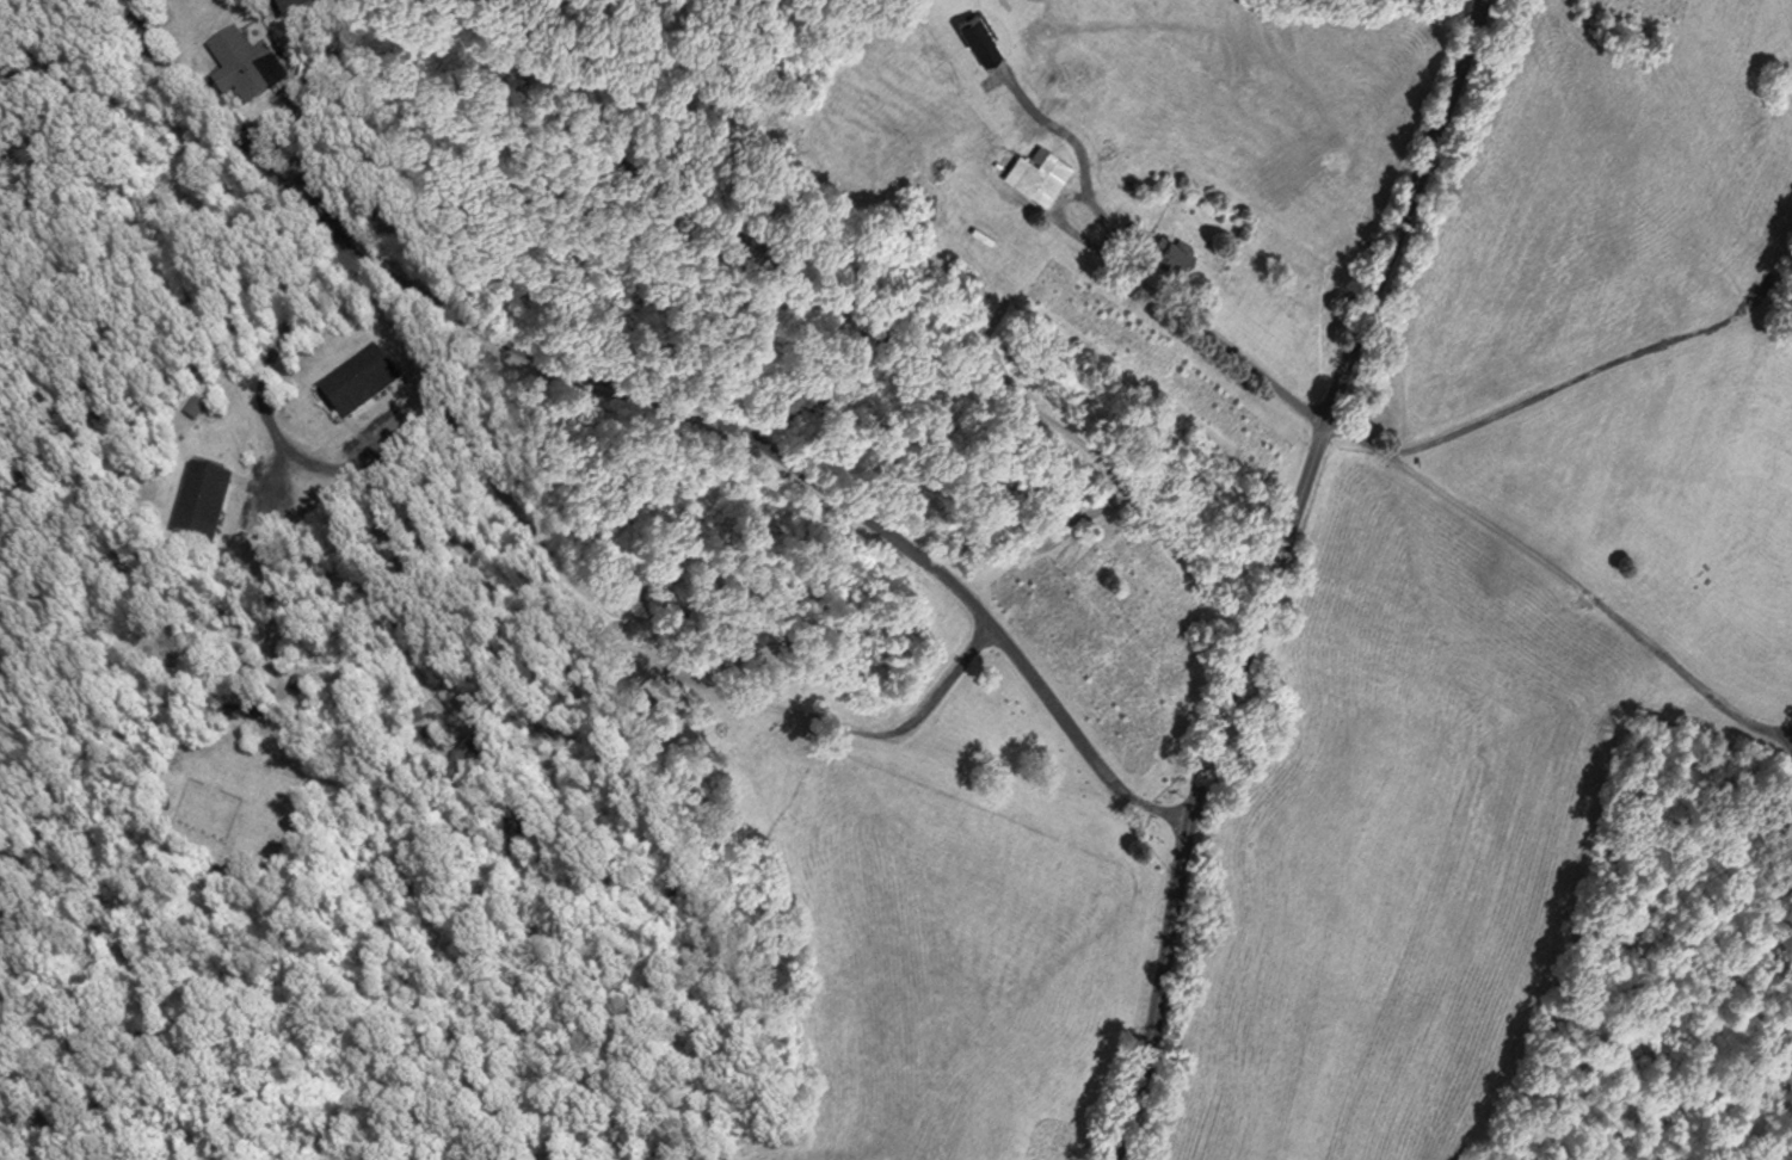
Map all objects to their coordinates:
building: (291, 5)
building: (276, 6)
building: (133, 36)
building: (242, 66)
building: (146, 67)
building: (161, 94)
building: (1040, 174)
building: (1177, 252)
road: (1190, 316)
road: (1607, 370)
road: (258, 380)
building: (357, 383)
road: (756, 439)
building: (201, 502)
road: (1275, 572)
road: (1569, 575)
building: (244, 671)
building: (292, 681)
building: (261, 702)
building: (230, 711)
building: (412, 714)
building: (297, 717)
building: (646, 721)
road: (854, 727)
building: (420, 732)
building: (474, 741)
building: (486, 764)
building: (454, 772)
road: (370, 788)
building: (1788, 872)

